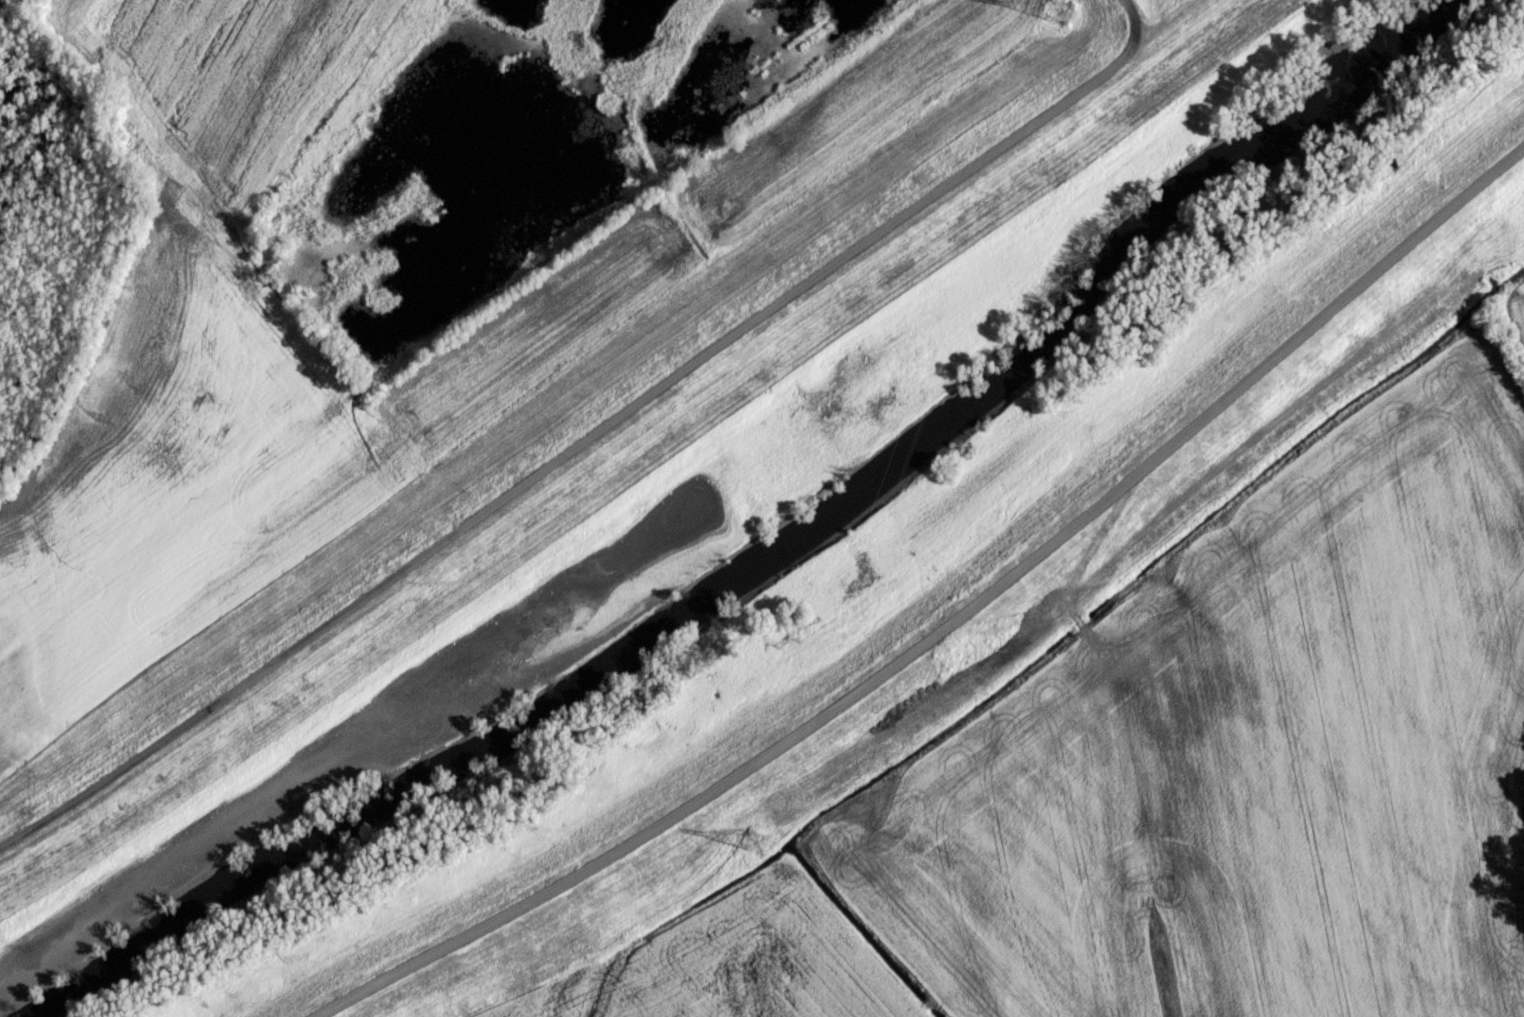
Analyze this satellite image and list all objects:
power tower: (1061, 16)
road: (589, 434)
road: (946, 622)
power tower: (759, 835)

